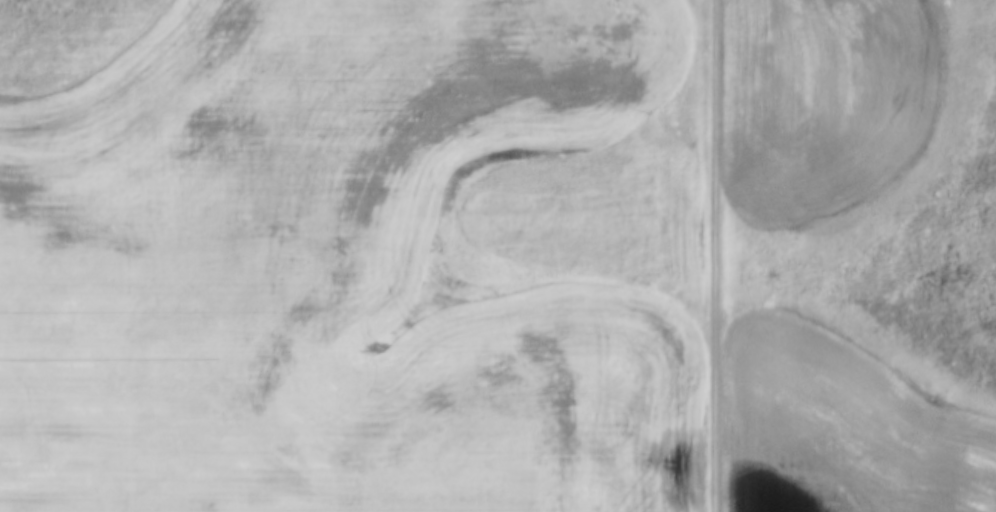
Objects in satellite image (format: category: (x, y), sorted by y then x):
road: (717, 256)

